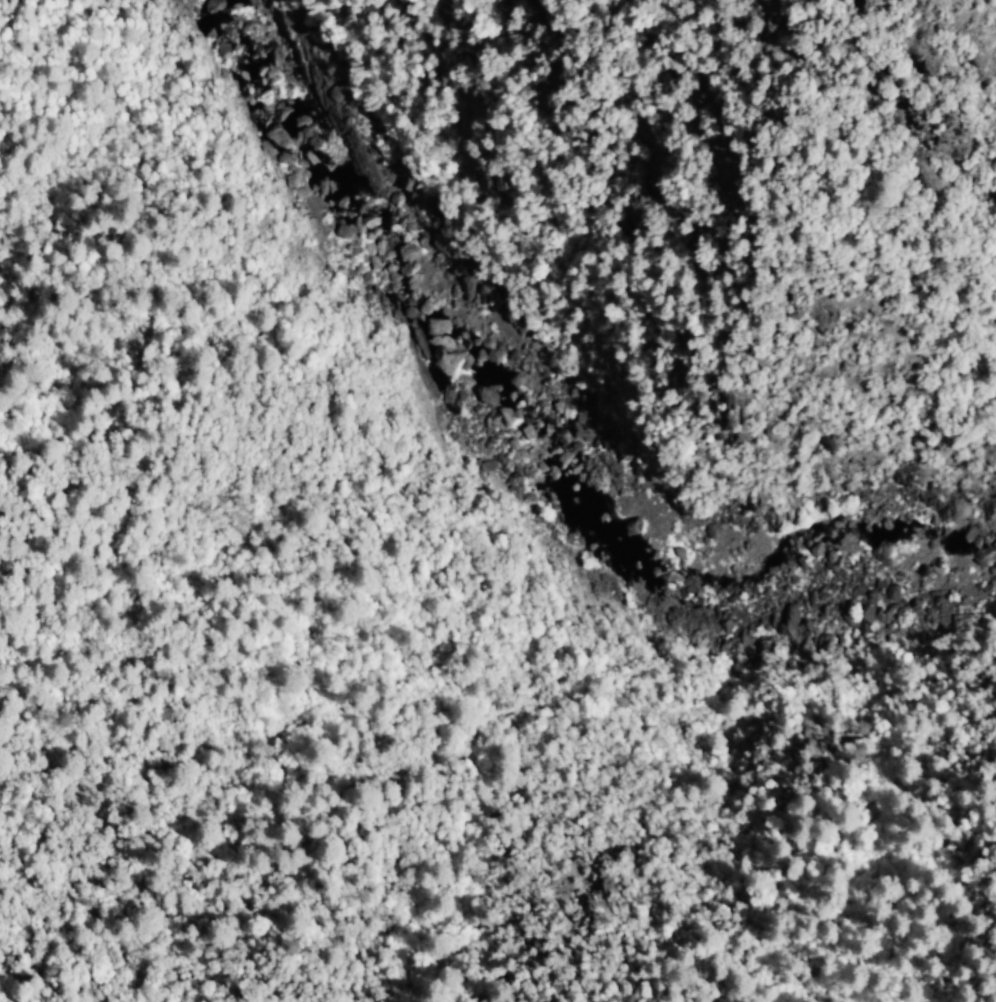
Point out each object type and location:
river: (539, 416)

